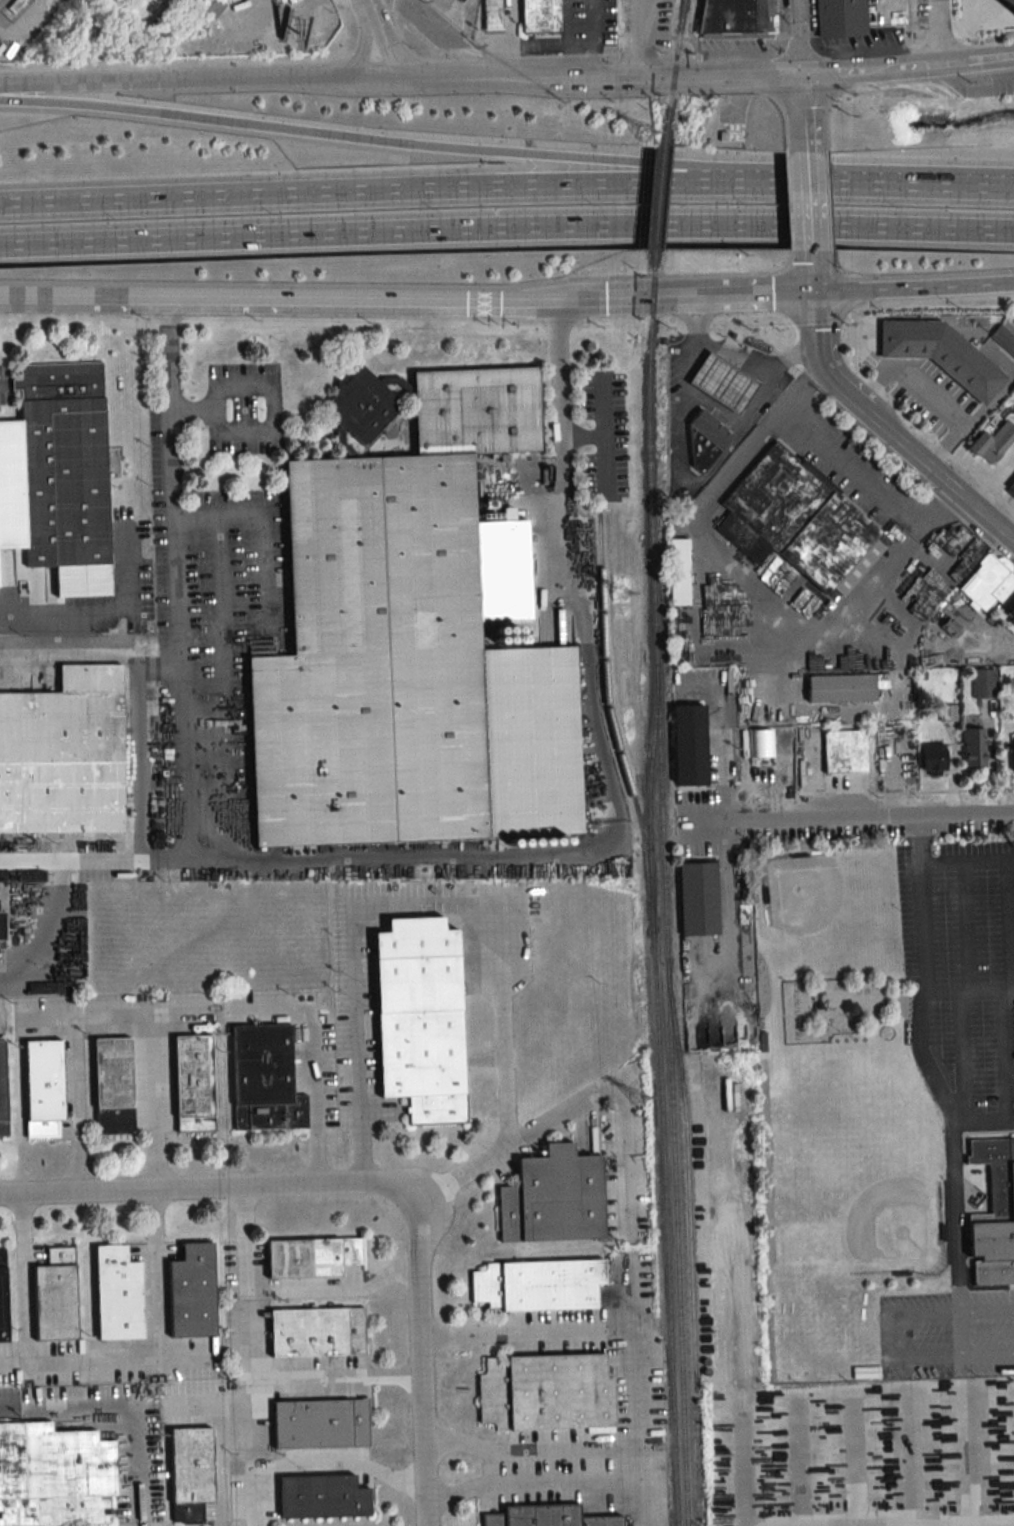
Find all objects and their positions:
building: (461, 0)
building: (1010, 2)
road: (368, 4)
building: (16, 5)
building: (212, 7)
road: (888, 8)
building: (492, 15)
building: (540, 16)
building: (841, 18)
building: (740, 19)
road: (934, 31)
road: (807, 37)
road: (988, 38)
road: (591, 39)
road: (647, 39)
road: (382, 43)
road: (361, 45)
road: (874, 45)
railway: (677, 53)
road: (509, 59)
road: (946, 72)
road: (704, 78)
road: (196, 82)
road: (808, 118)
power tower: (644, 130)
road: (371, 139)
railway: (661, 183)
road: (878, 187)
road: (371, 191)
road: (809, 211)
road: (506, 226)
road: (912, 288)
road: (730, 296)
road: (617, 299)
road: (292, 301)
building: (1004, 339)
road: (739, 353)
building: (942, 354)
building: (723, 381)
road: (268, 387)
road: (844, 395)
building: (362, 405)
road: (715, 408)
road: (914, 422)
building: (706, 438)
building: (993, 443)
building: (64, 463)
road: (850, 464)
road: (915, 478)
road: (174, 479)
building: (1011, 489)
road: (938, 507)
road: (984, 518)
building: (799, 522)
building: (679, 571)
road: (713, 572)
building: (988, 583)
power tower: (619, 593)
building: (1009, 607)
road: (844, 611)
road: (82, 616)
road: (87, 648)
building: (411, 650)
building: (984, 683)
building: (841, 688)
railway: (609, 706)
building: (761, 743)
building: (690, 746)
building: (974, 748)
building: (845, 751)
road: (137, 752)
building: (64, 754)
building: (934, 759)
road: (875, 814)
road: (580, 848)
road: (41, 857)
road: (967, 861)
road: (61, 871)
railway: (664, 892)
building: (698, 898)
road: (921, 903)
road: (461, 904)
road: (968, 993)
road: (113, 1017)
building: (421, 1019)
road: (310, 1057)
building: (265, 1079)
building: (194, 1083)
building: (114, 1086)
building: (44, 1087)
road: (618, 1087)
building: (3, 1092)
power tower: (639, 1097)
railway: (658, 1103)
park: (838, 1111)
road: (205, 1190)
building: (554, 1199)
building: (994, 1214)
road: (958, 1255)
building: (312, 1258)
road: (252, 1274)
road: (158, 1276)
road: (24, 1280)
building: (539, 1285)
road: (337, 1288)
building: (193, 1293)
building: (117, 1295)
building: (3, 1297)
building: (55, 1297)
road: (987, 1309)
building: (318, 1333)
road: (988, 1355)
road: (213, 1359)
road: (419, 1368)
road: (638, 1384)
building: (547, 1394)
road: (120, 1407)
building: (321, 1424)
road: (742, 1460)
road: (307, 1465)
building: (192, 1467)
building: (55, 1476)
road: (529, 1480)
road: (636, 1485)
building: (323, 1497)
building: (548, 1517)

